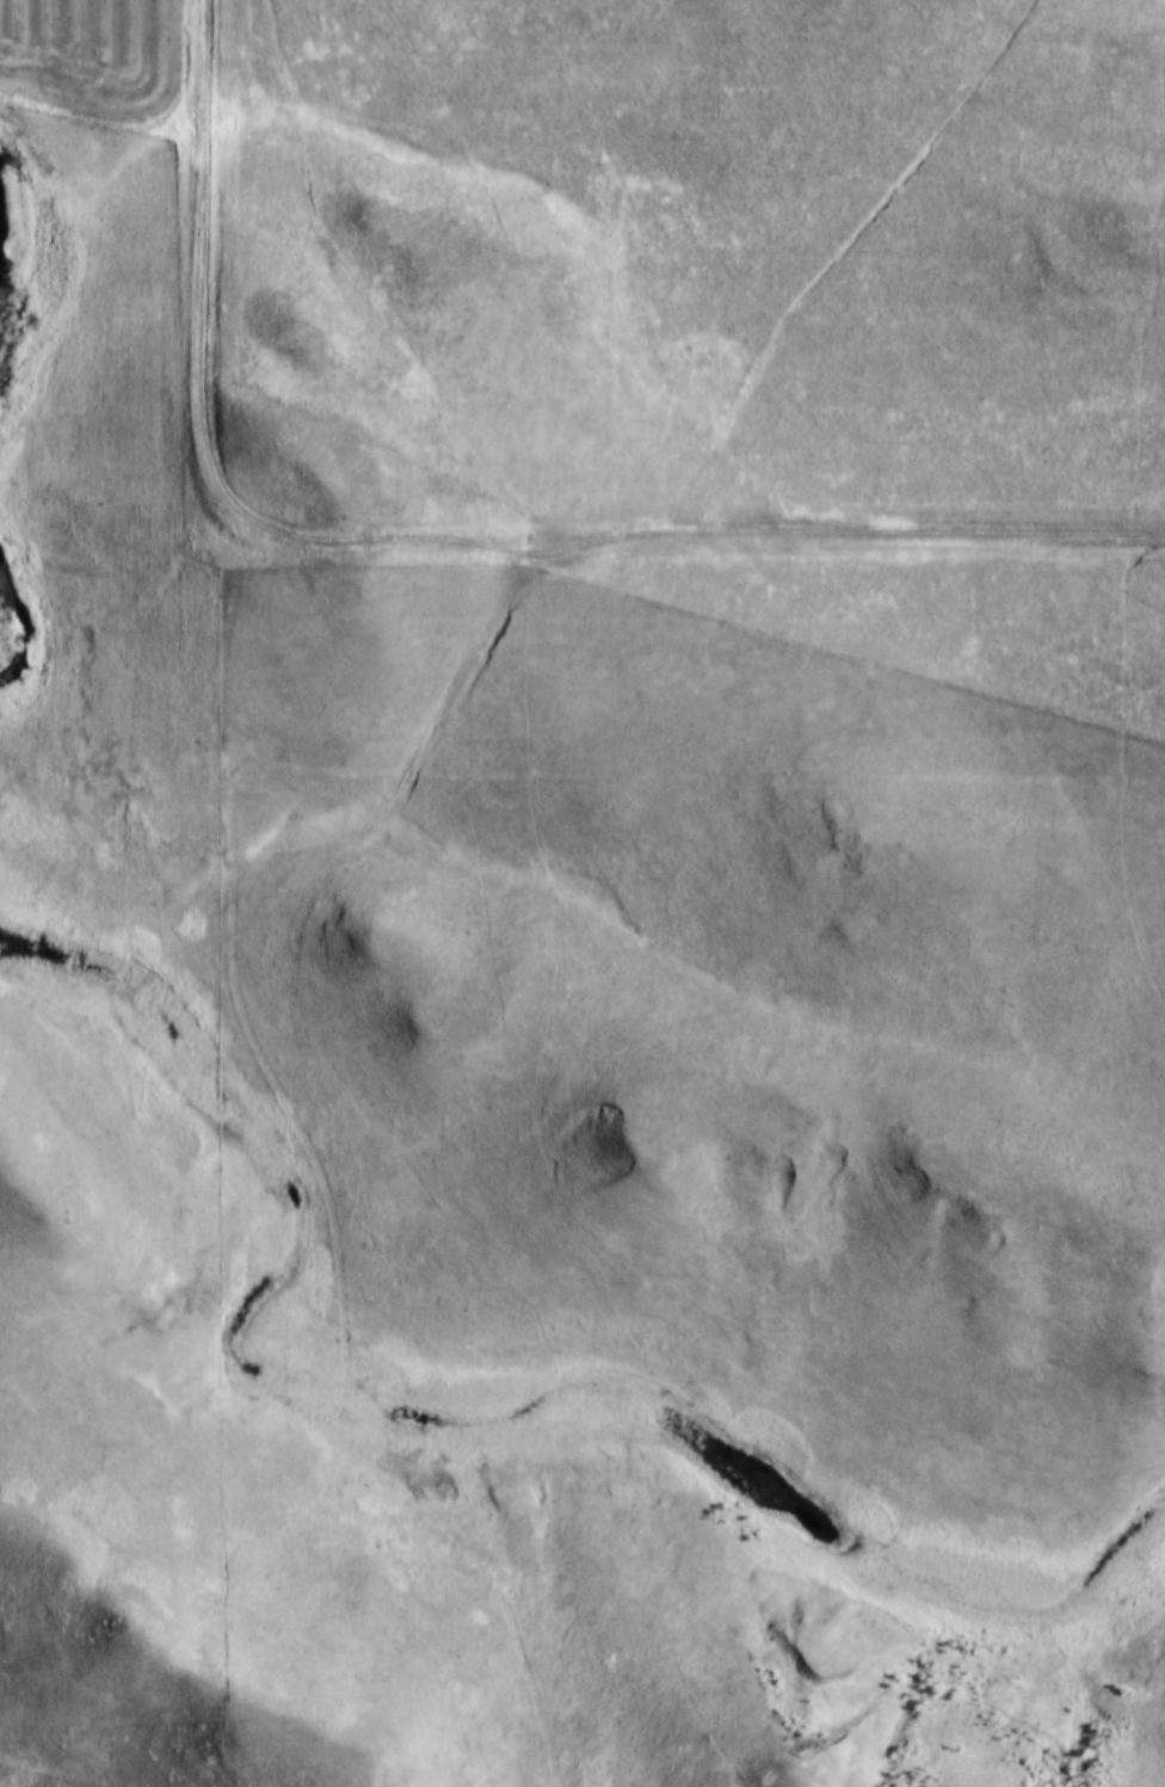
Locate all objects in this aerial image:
road: (436, 543)

